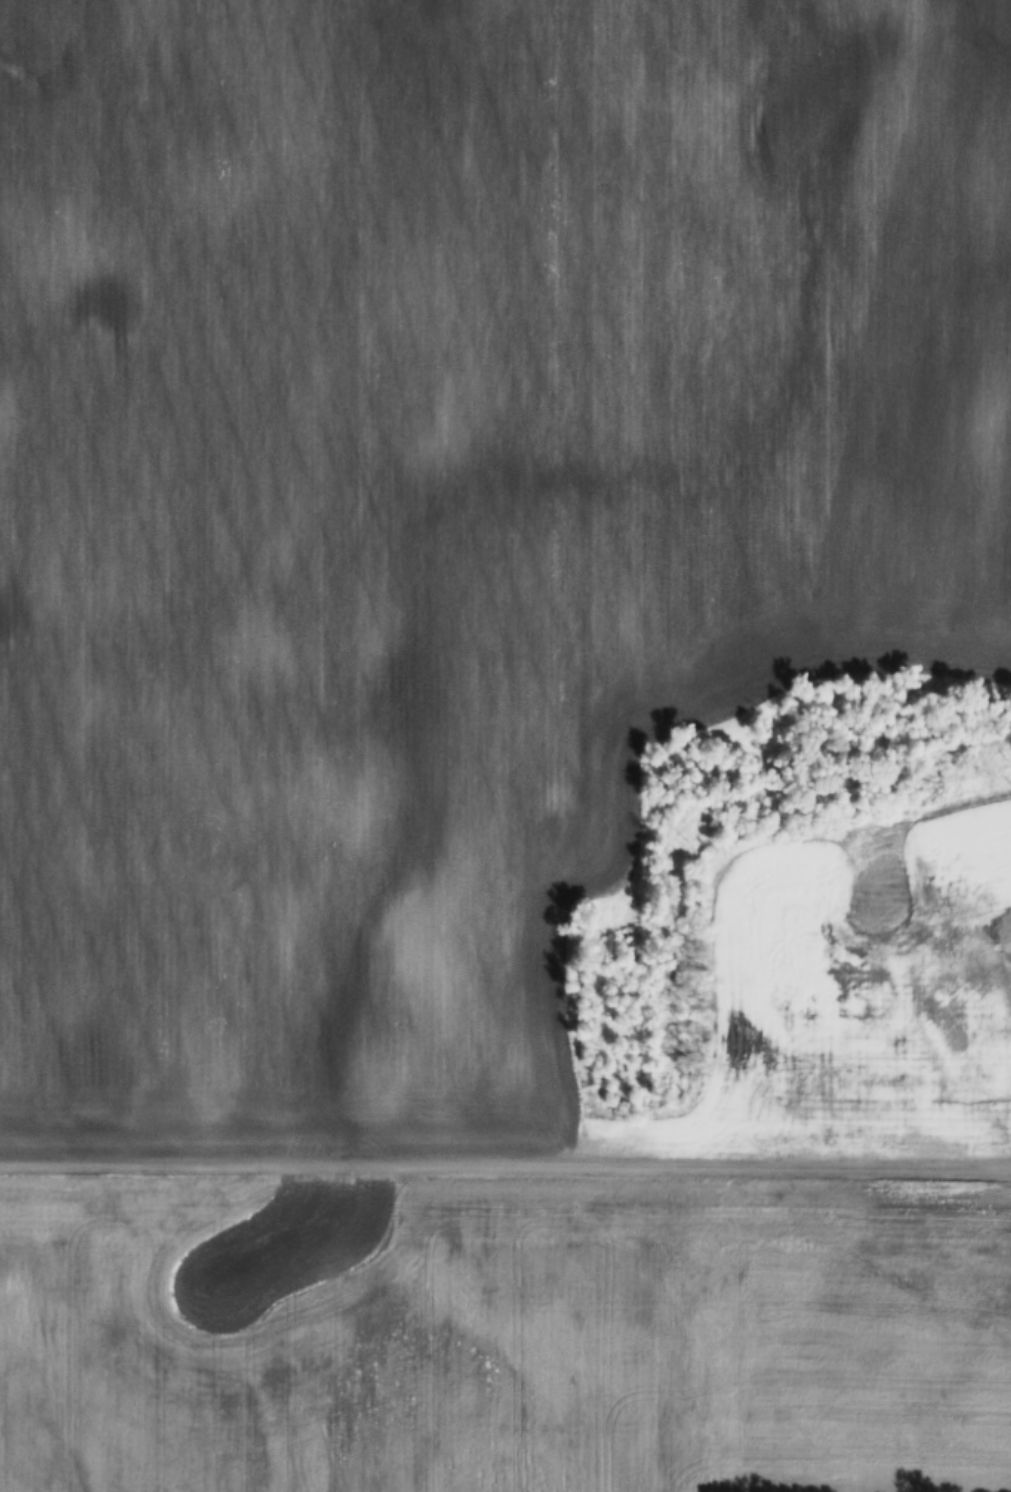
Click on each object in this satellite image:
road: (505, 1161)

